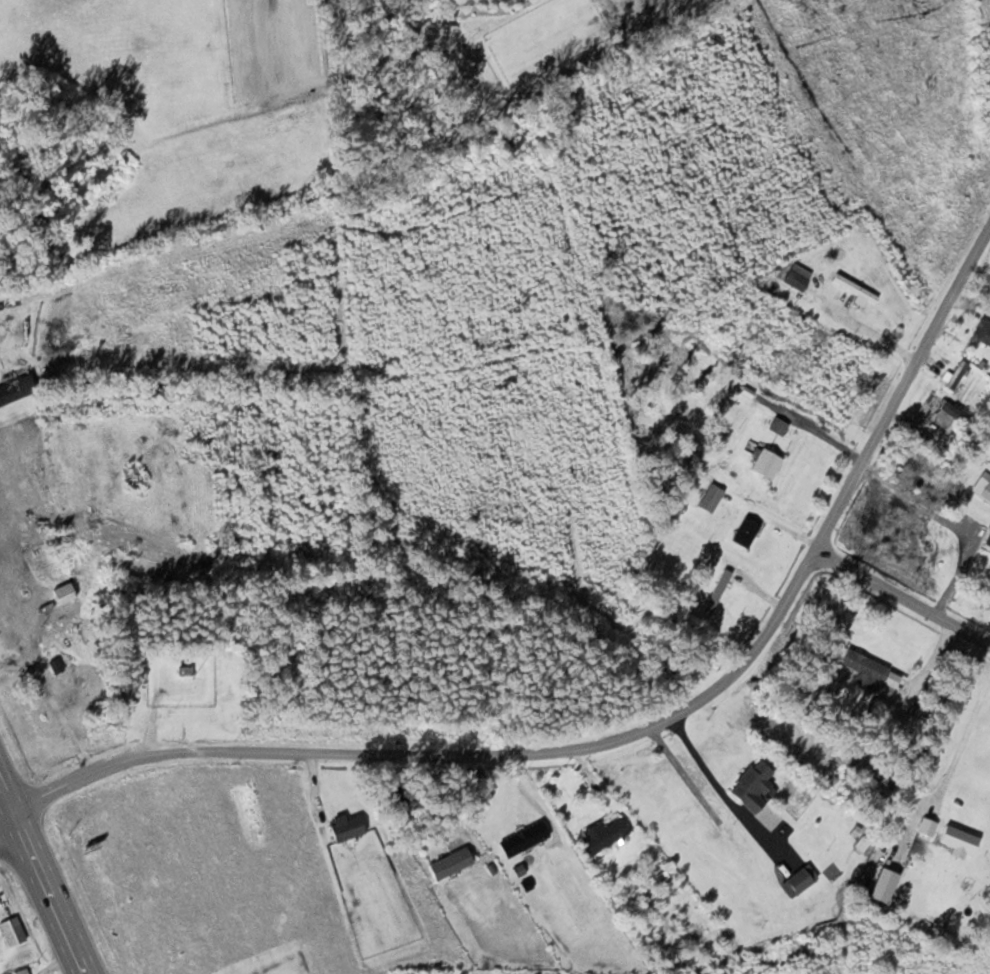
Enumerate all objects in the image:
building: (793, 276)
building: (854, 287)
building: (956, 375)
building: (17, 387)
building: (942, 417)
building: (777, 426)
building: (764, 463)
building: (710, 498)
building: (744, 532)
building: (986, 539)
building: (60, 594)
road: (902, 597)
building: (55, 667)
building: (863, 670)
road: (629, 732)
building: (751, 786)
road: (4, 801)
road: (4, 815)
building: (684, 823)
building: (344, 827)
building: (926, 827)
building: (602, 836)
building: (522, 839)
building: (957, 841)
building: (449, 864)
building: (801, 879)
road: (45, 893)
building: (11, 931)
building: (21, 972)

